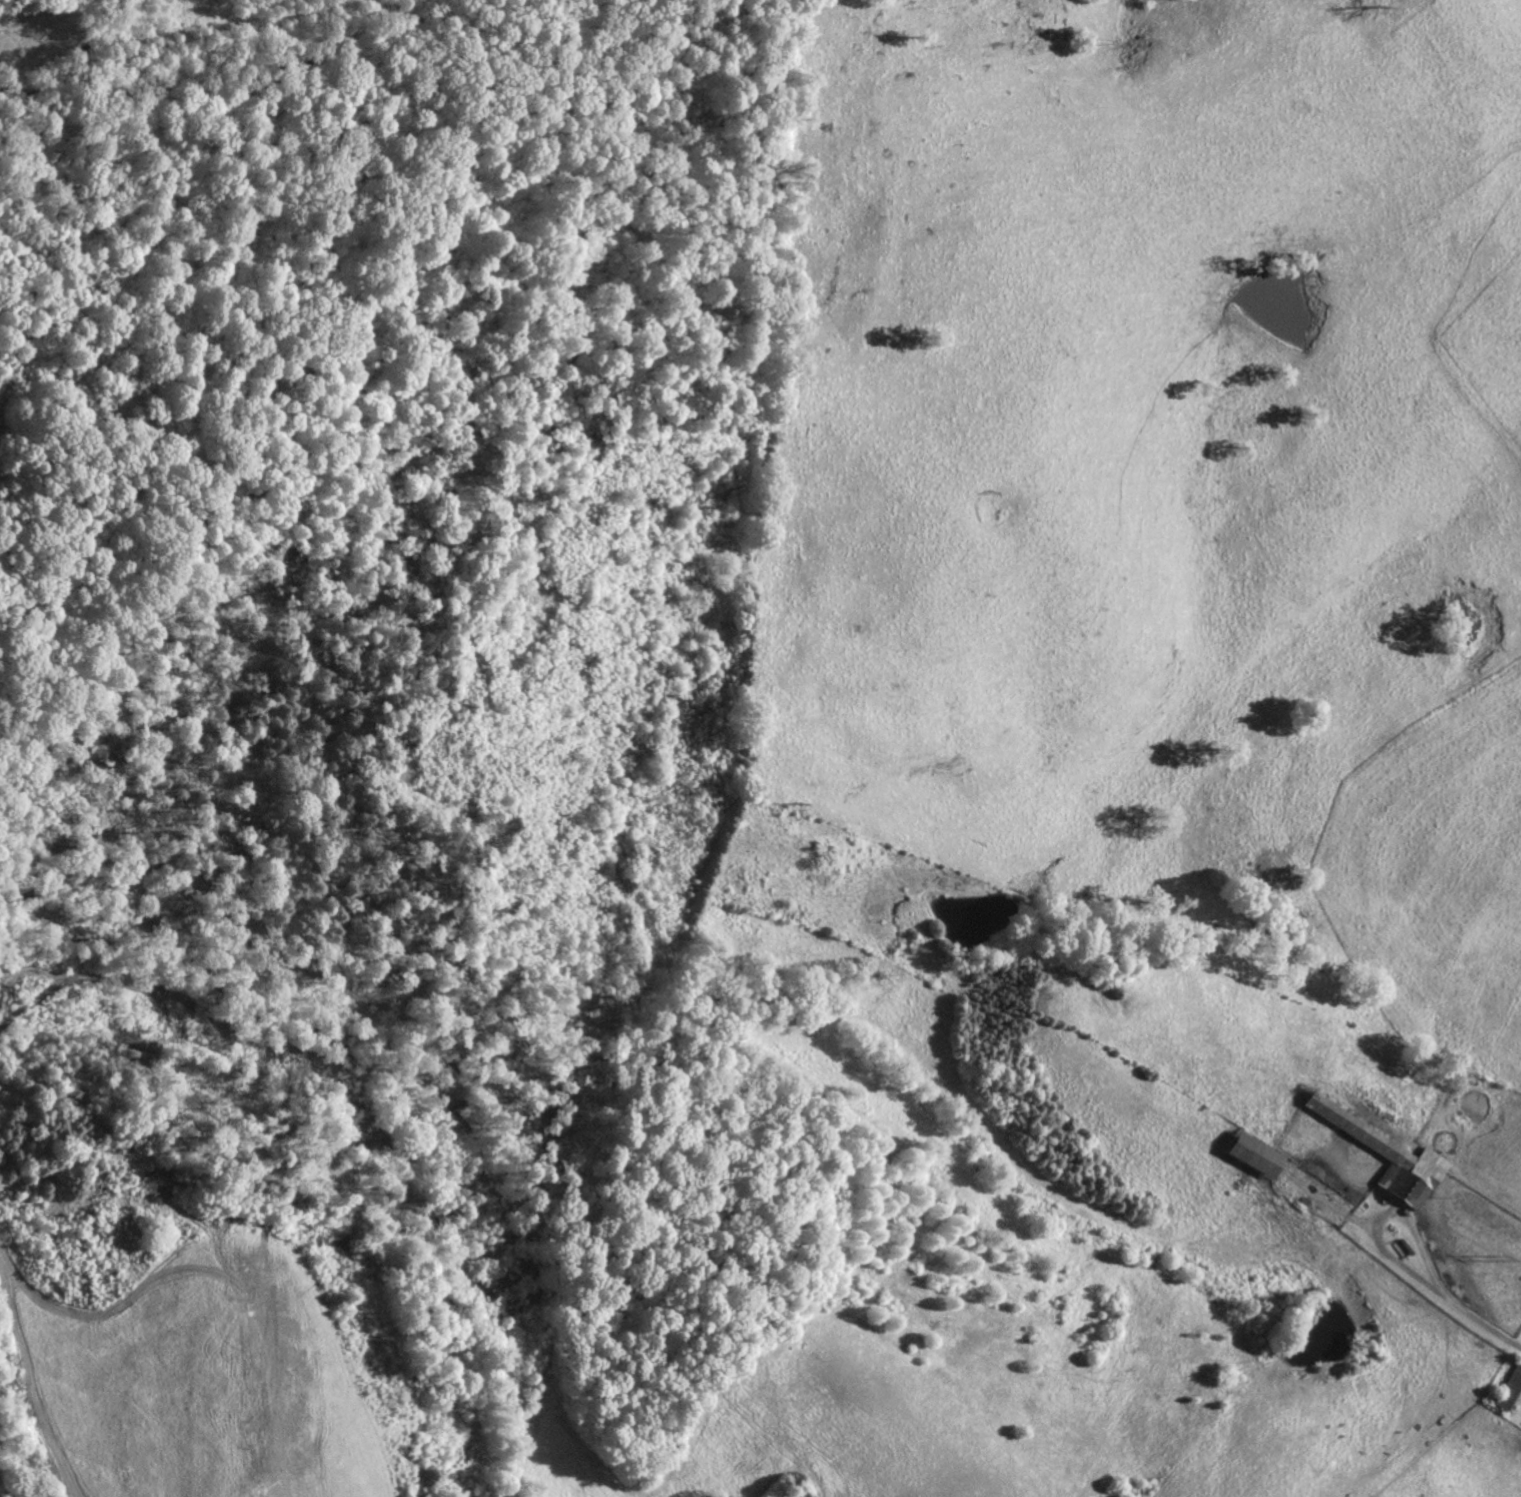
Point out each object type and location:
building: (1261, 1155)
building: (1392, 1155)
power tower: (1499, 1256)

